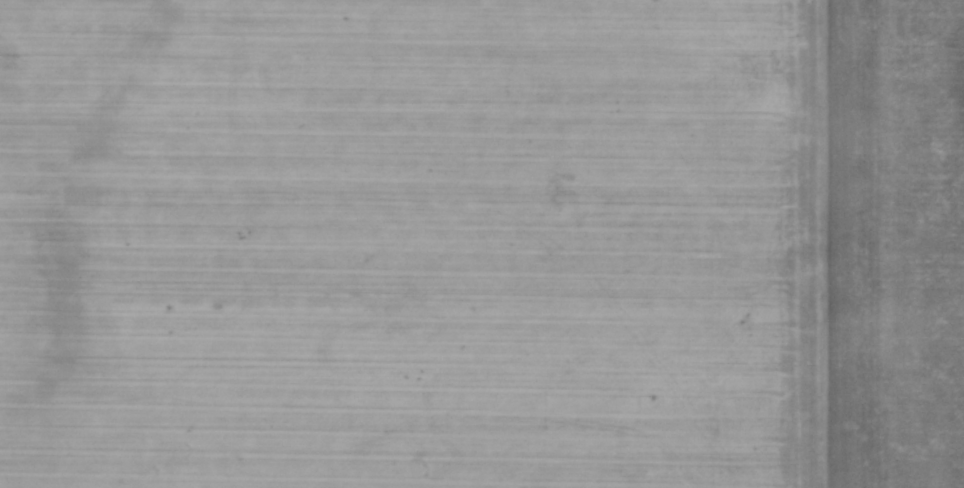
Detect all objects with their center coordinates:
crop: (482, 244)

